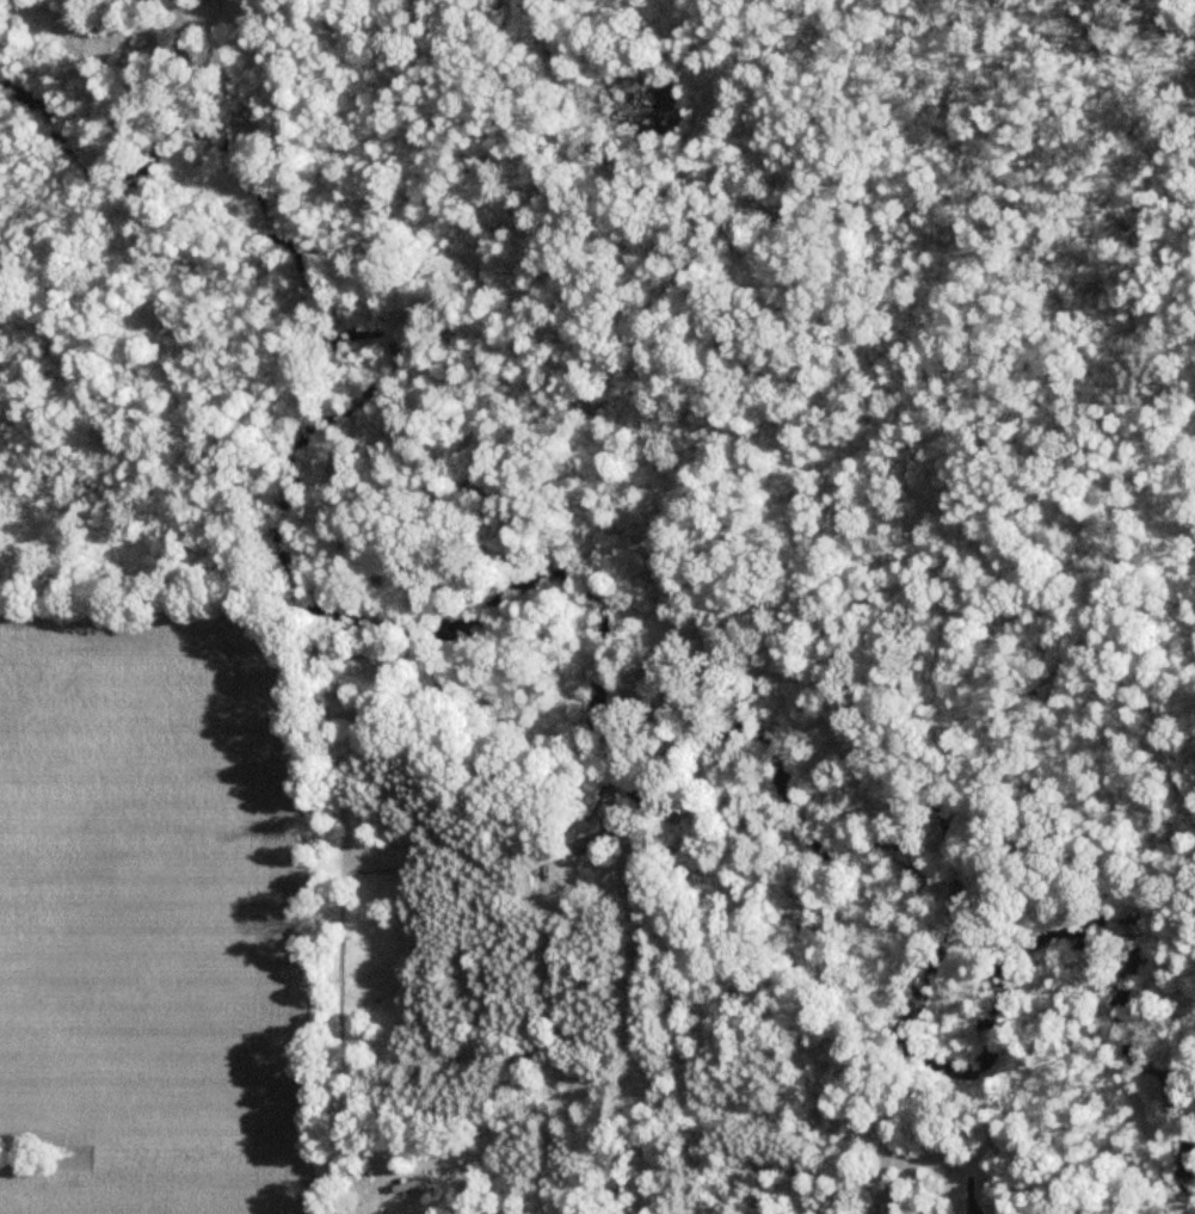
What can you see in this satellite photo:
road: (640, 1127)

